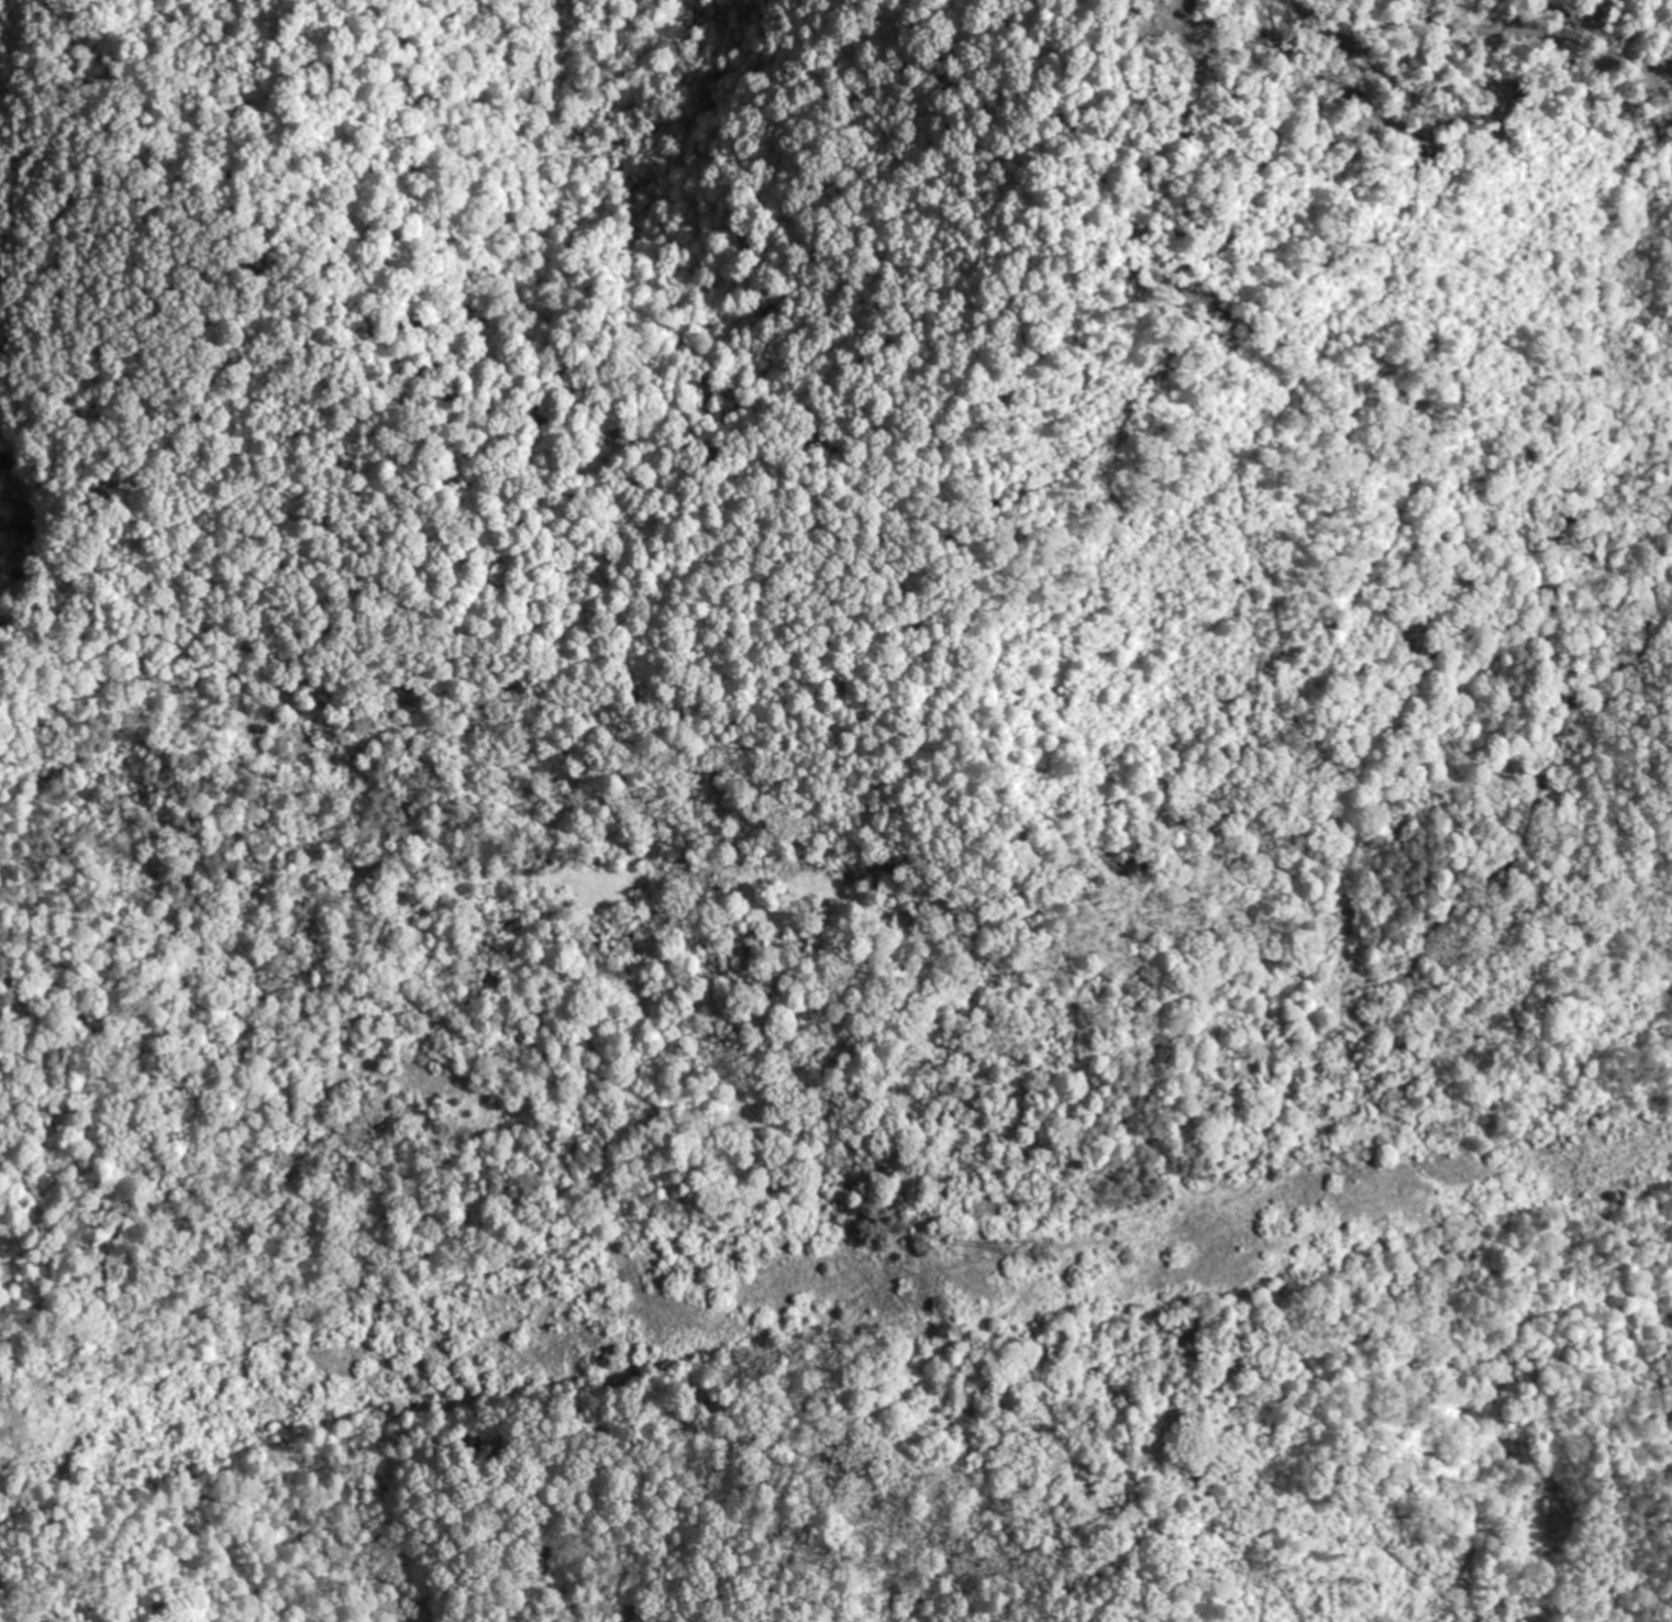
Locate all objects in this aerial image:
power tower: (1047, 1249)

